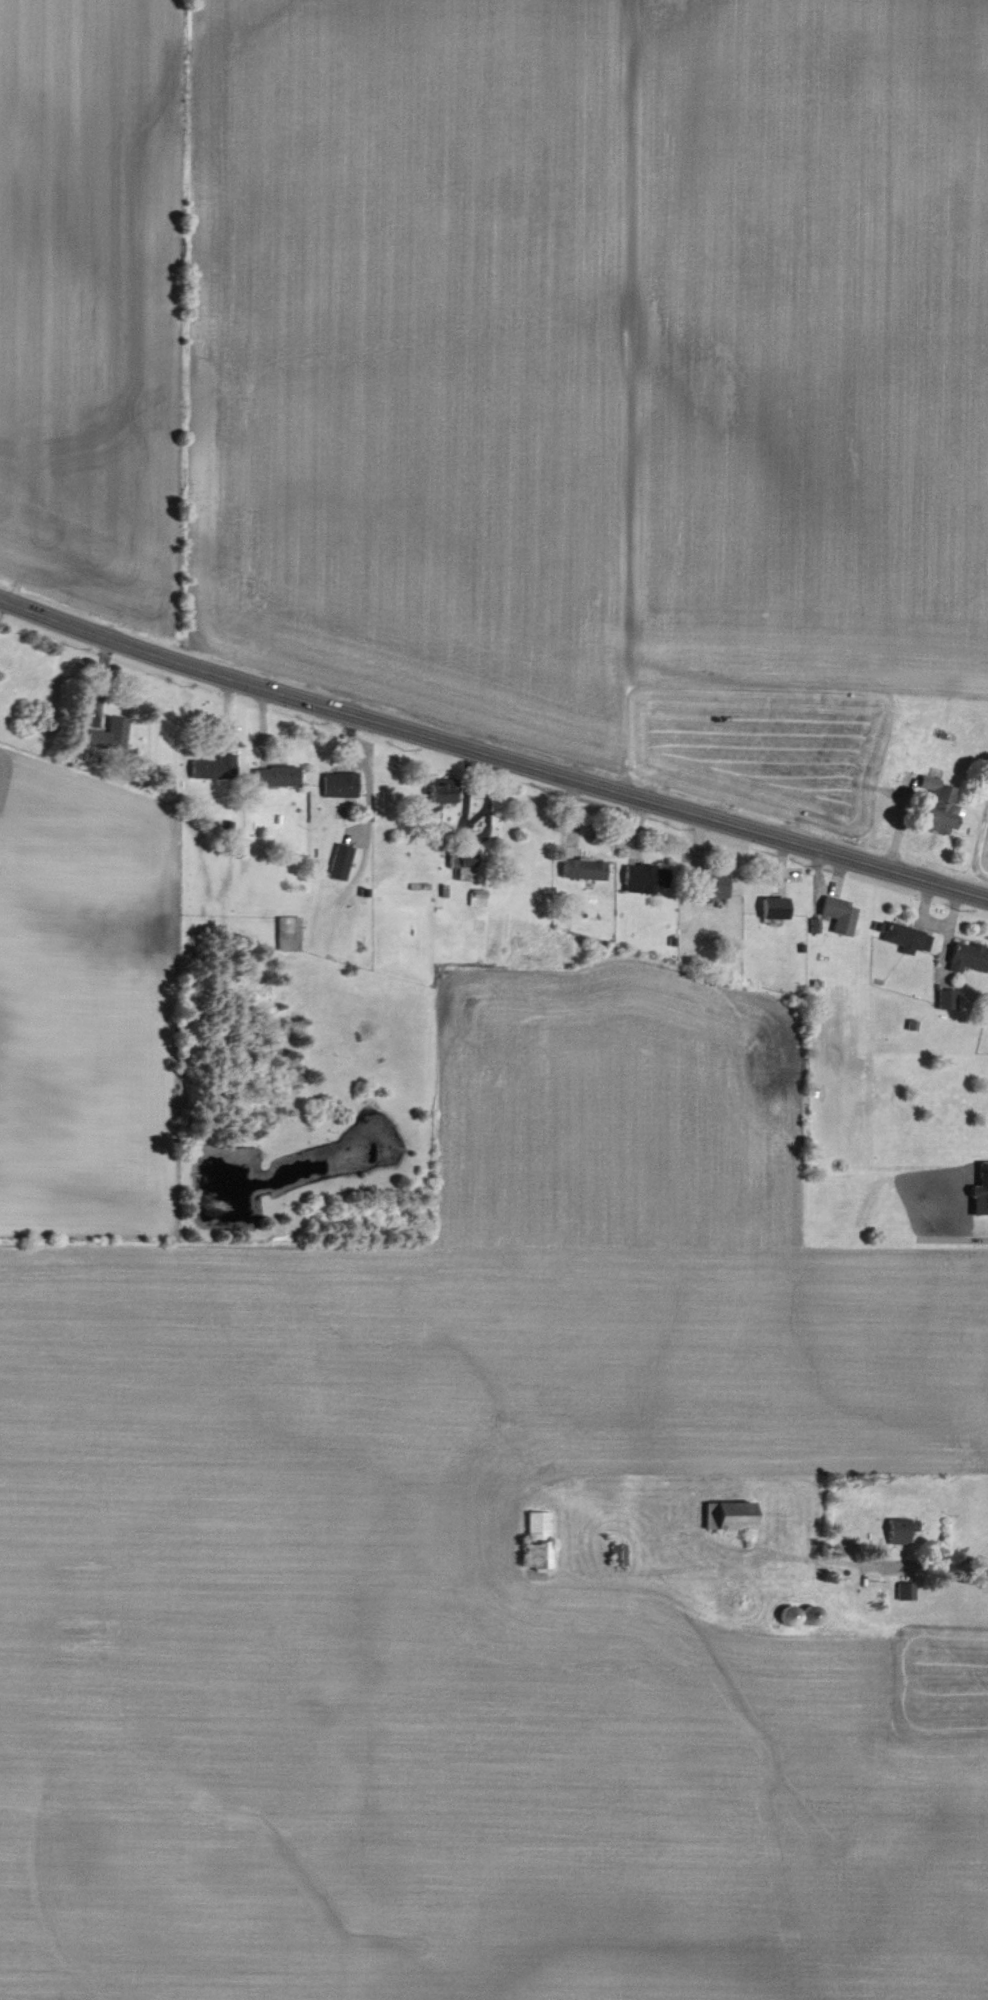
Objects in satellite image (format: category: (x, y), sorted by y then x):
building: (110, 733)
road: (491, 755)
building: (277, 775)
building: (341, 784)
building: (445, 793)
building: (940, 805)
building: (341, 861)
building: (463, 867)
building: (584, 868)
building: (644, 877)
building: (712, 885)
building: (478, 897)
building: (775, 907)
building: (841, 914)
building: (814, 925)
building: (289, 933)
building: (907, 937)
building: (970, 957)
building: (947, 998)
building: (981, 1191)
building: (730, 1516)
building: (901, 1530)
building: (538, 1540)
building: (619, 1555)
road: (938, 1564)
building: (906, 1591)
building: (801, 1616)

